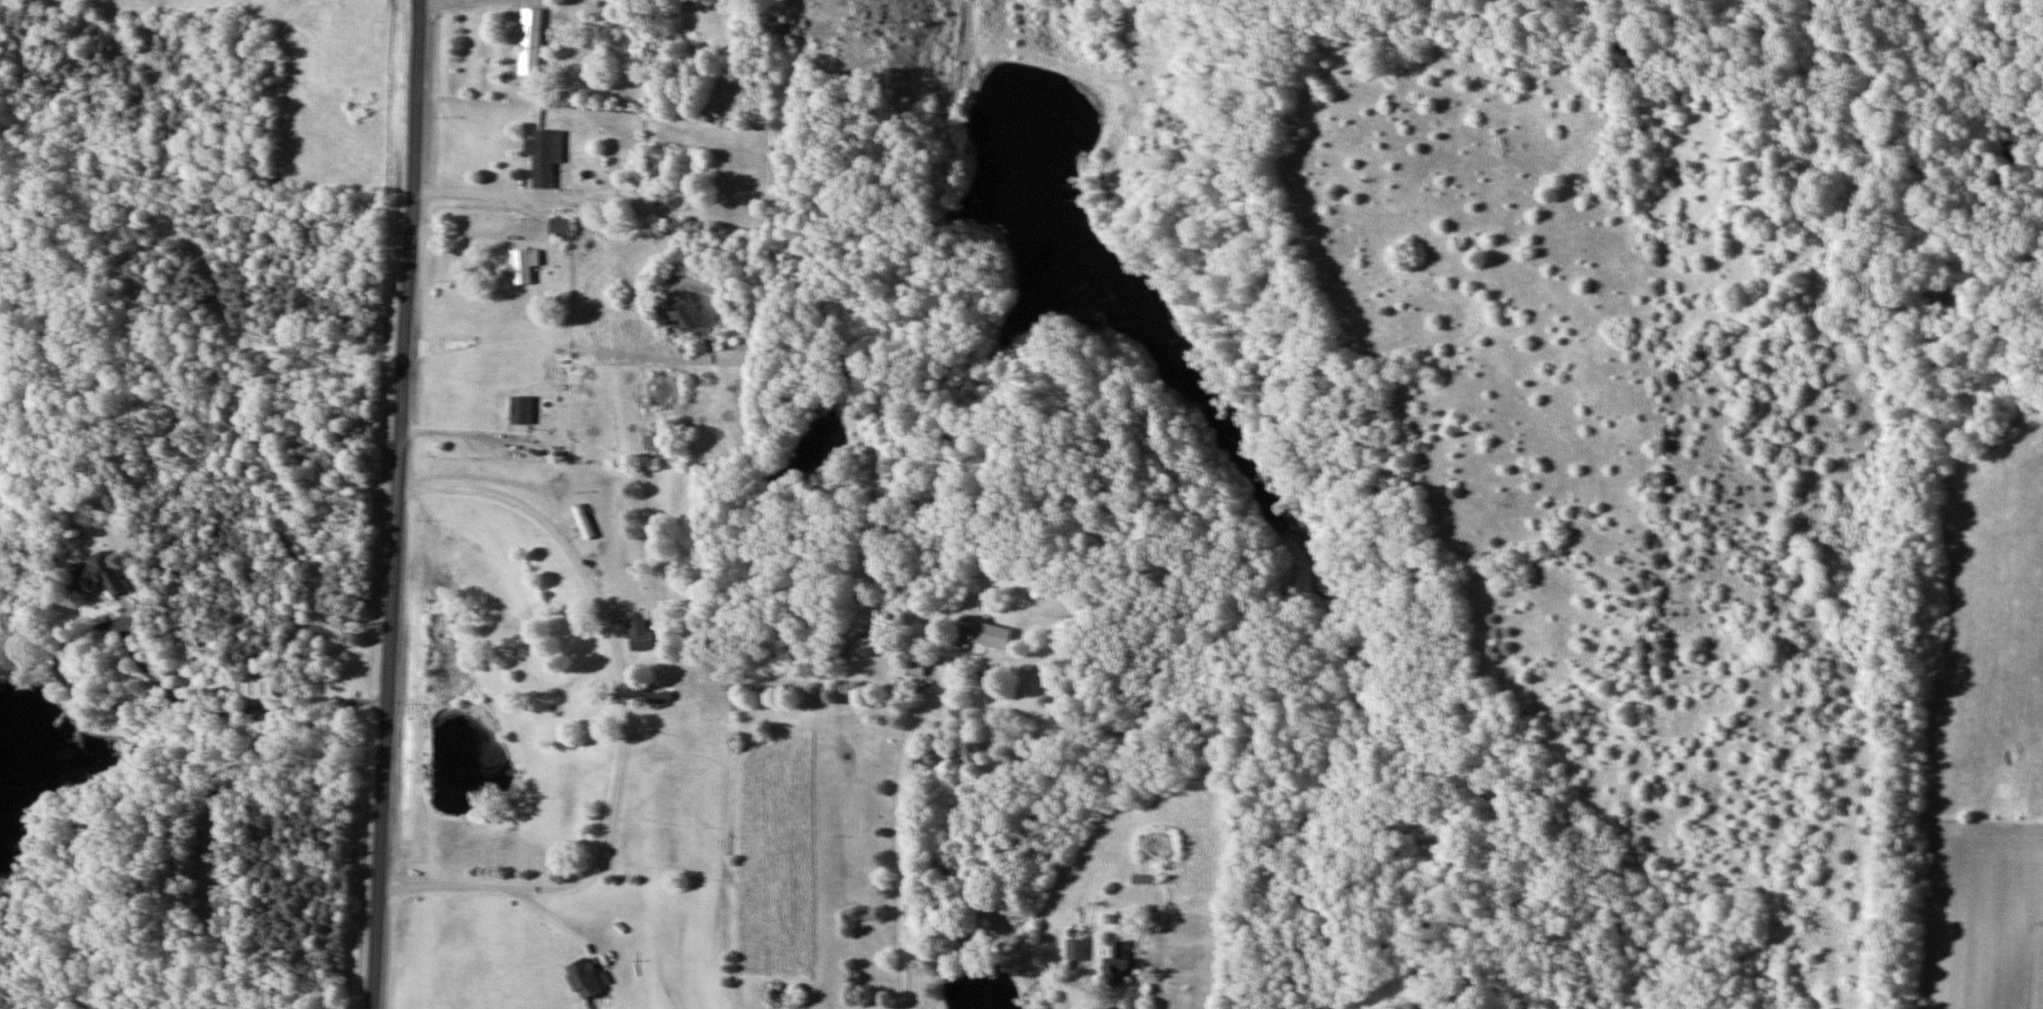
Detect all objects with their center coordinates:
building: (530, 41)
building: (544, 165)
building: (557, 228)
building: (522, 266)
building: (520, 410)
road: (395, 504)
building: (582, 522)
building: (101, 575)
building: (639, 635)
building: (993, 636)
road: (136, 656)
building: (918, 668)
building: (260, 689)
building: (660, 697)
road: (622, 721)
road: (899, 836)
building: (1145, 880)
building: (1077, 950)
building: (1117, 966)
building: (582, 978)
road: (1080, 986)
road: (1325, 994)

